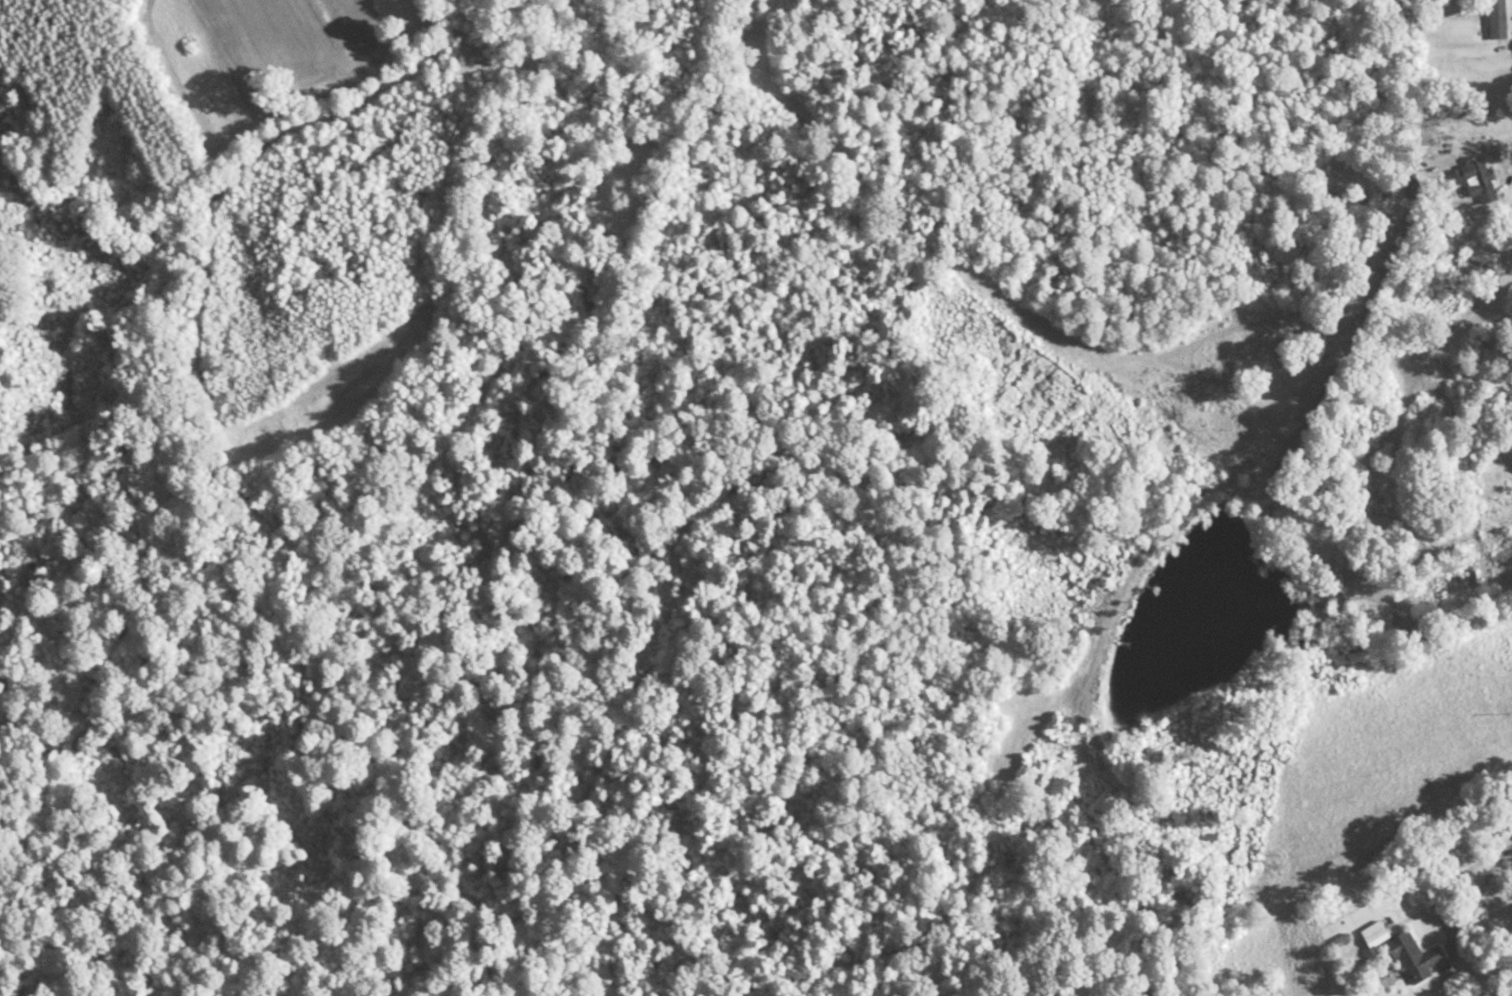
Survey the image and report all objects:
building: (1494, 19)
building: (1471, 177)
building: (1415, 957)

